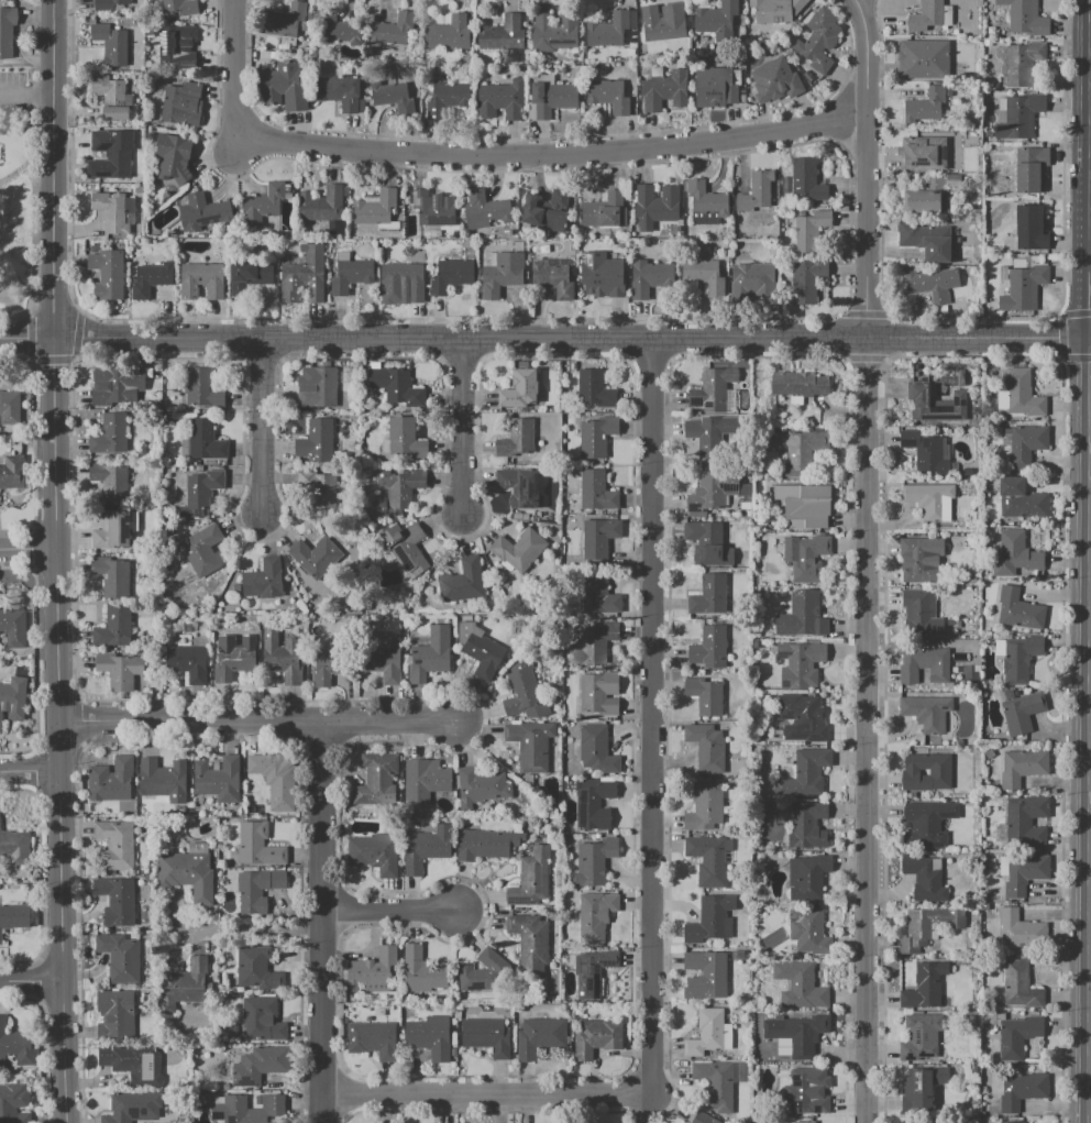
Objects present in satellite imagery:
building: (107, 5)
building: (178, 7)
building: (775, 10)
building: (925, 15)
building: (717, 18)
building: (1024, 18)
building: (282, 21)
building: (660, 24)
building: (331, 27)
building: (7, 29)
building: (608, 30)
building: (990, 30)
building: (392, 31)
building: (447, 34)
building: (554, 34)
building: (504, 37)
building: (817, 41)
building: (988, 43)
building: (109, 44)
building: (979, 51)
building: (174, 52)
building: (923, 60)
building: (1021, 62)
building: (775, 77)
building: (282, 87)
building: (715, 88)
building: (664, 90)
building: (387, 92)
building: (335, 95)
building: (449, 96)
building: (607, 96)
road: (26, 97)
building: (110, 97)
building: (551, 99)
building: (500, 100)
building: (180, 104)
building: (928, 107)
building: (1002, 110)
building: (1020, 117)
building: (988, 134)
building: (153, 135)
road: (239, 143)
building: (924, 147)
building: (113, 148)
building: (967, 152)
road: (487, 154)
building: (174, 159)
building: (967, 167)
road: (24, 168)
building: (1029, 169)
building: (955, 172)
building: (805, 180)
building: (951, 180)
building: (756, 191)
building: (923, 197)
building: (262, 203)
building: (321, 203)
building: (704, 203)
building: (653, 206)
building: (374, 207)
building: (206, 208)
building: (432, 208)
building: (485, 209)
building: (600, 210)
building: (110, 211)
building: (545, 211)
building: (333, 227)
building: (1029, 229)
building: (808, 235)
building: (927, 241)
road: (1090, 253)
building: (178, 255)
building: (343, 255)
building: (419, 255)
building: (738, 257)
building: (506, 269)
building: (483, 273)
building: (107, 274)
building: (451, 274)
building: (599, 274)
building: (702, 274)
building: (305, 275)
building: (249, 276)
building: (350, 276)
building: (551, 277)
building: (647, 277)
building: (751, 277)
building: (401, 278)
building: (148, 279)
building: (200, 280)
building: (806, 280)
building: (932, 285)
building: (1023, 288)
road: (1090, 305)
road: (1090, 337)
traffic signals: (1090, 337)
road: (544, 338)
road: (1090, 363)
building: (147, 375)
building: (114, 384)
building: (798, 384)
building: (393, 385)
building: (317, 387)
building: (201, 388)
building: (519, 389)
building: (593, 389)
building: (712, 389)
building: (1018, 393)
building: (368, 404)
building: (936, 405)
building: (7, 409)
road: (260, 423)
road: (460, 423)
building: (108, 434)
building: (595, 436)
building: (705, 436)
building: (404, 437)
building: (1005, 438)
building: (514, 439)
building: (205, 441)
building: (317, 441)
building: (1026, 444)
building: (926, 449)
building: (802, 452)
building: (12, 472)
building: (110, 480)
building: (519, 486)
building: (317, 488)
building: (395, 491)
building: (595, 491)
building: (200, 492)
building: (708, 493)
building: (928, 502)
building: (1021, 502)
building: (805, 507)
building: (111, 529)
building: (597, 537)
building: (403, 544)
building: (707, 544)
building: (518, 548)
road: (26, 549)
building: (201, 549)
building: (1018, 552)
building: (315, 557)
building: (808, 559)
road: (866, 560)
road: (54, 561)
building: (917, 562)
building: (108, 575)
building: (263, 580)
building: (464, 581)
building: (598, 595)
building: (707, 595)
building: (1017, 610)
building: (919, 612)
building: (802, 615)
building: (13, 627)
building: (113, 627)
building: (592, 643)
building: (708, 648)
building: (430, 656)
building: (482, 656)
building: (282, 657)
building: (1020, 657)
building: (186, 661)
building: (382, 661)
building: (232, 662)
building: (798, 664)
building: (922, 665)
building: (327, 667)
building: (119, 671)
building: (522, 692)
building: (599, 693)
building: (704, 696)
building: (13, 698)
building: (1020, 711)
building: (926, 712)
road: (650, 716)
building: (801, 717)
road: (256, 722)
building: (529, 745)
building: (706, 747)
building: (595, 750)
road: (1088, 757)
building: (1021, 768)
road: (29, 772)
building: (805, 773)
building: (940, 773)
building: (276, 778)
building: (375, 778)
building: (217, 780)
building: (111, 781)
building: (164, 781)
building: (423, 781)
building: (480, 788)
building: (593, 805)
building: (704, 806)
building: (1025, 822)
building: (926, 824)
building: (806, 827)
building: (485, 844)
building: (114, 845)
building: (256, 846)
building: (13, 847)
building: (425, 848)
building: (373, 854)
building: (707, 859)
building: (593, 862)
building: (1023, 873)
building: (187, 876)
building: (808, 876)
building: (530, 879)
building: (924, 879)
building: (256, 890)
building: (115, 900)
road: (388, 910)
building: (594, 916)
building: (14, 917)
building: (707, 920)
road: (322, 922)
building: (926, 928)
building: (806, 931)
building: (1020, 931)
road: (253, 933)
building: (529, 942)
building: (120, 957)
building: (255, 970)
building: (421, 971)
building: (371, 972)
building: (481, 973)
building: (593, 976)
building: (705, 976)
road: (30, 981)
building: (185, 982)
building: (798, 986)
building: (924, 986)
building: (1020, 986)
building: (113, 1013)
building: (261, 1021)
building: (706, 1033)
building: (368, 1036)
building: (486, 1036)
building: (803, 1036)
building: (1016, 1036)
building: (429, 1037)
building: (539, 1037)
building: (919, 1037)
building: (595, 1039)
building: (16, 1045)
building: (134, 1065)
building: (256, 1066)
building: (716, 1082)
building: (925, 1087)
building: (1022, 1090)
building: (806, 1091)
road: (486, 1094)
building: (11, 1100)
building: (131, 1107)
building: (246, 1109)
building: (701, 1118)
building: (804, 1122)
building: (1012, 1122)

